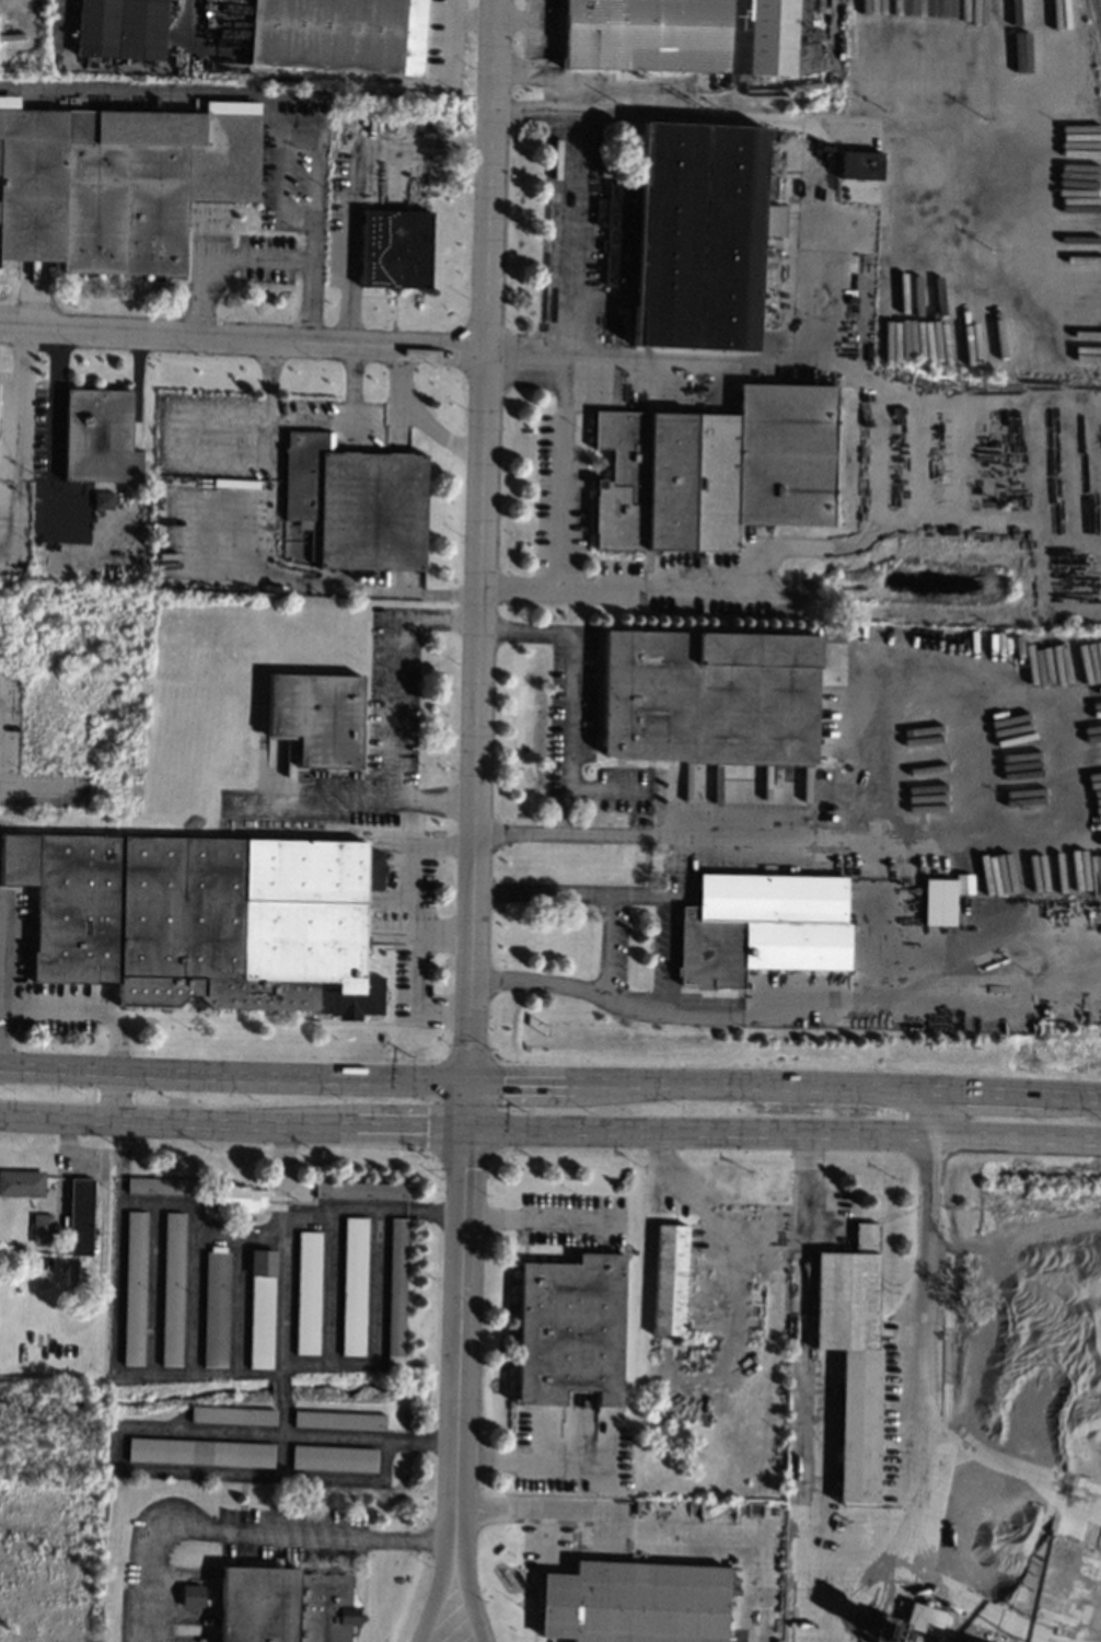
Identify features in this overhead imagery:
railway: (1097, 16)
road: (450, 27)
building: (119, 28)
building: (338, 34)
building: (692, 36)
road: (179, 91)
building: (811, 94)
road: (627, 118)
building: (860, 164)
road: (350, 180)
building: (116, 184)
road: (314, 208)
building: (691, 234)
building: (395, 248)
road: (263, 255)
road: (797, 309)
road: (243, 342)
road: (566, 354)
road: (552, 359)
road: (22, 397)
road: (269, 407)
road: (347, 419)
road: (380, 420)
road: (418, 420)
road: (53, 433)
building: (98, 436)
road: (162, 436)
building: (728, 464)
road: (266, 485)
building: (103, 500)
road: (18, 501)
building: (356, 504)
road: (870, 536)
road: (480, 540)
building: (144, 542)
road: (318, 583)
road: (563, 591)
road: (403, 667)
building: (708, 695)
road: (865, 704)
building: (316, 717)
road: (566, 736)
road: (36, 787)
road: (392, 789)
road: (604, 789)
building: (964, 884)
building: (939, 901)
building: (207, 920)
building: (761, 926)
road: (668, 956)
road: (415, 971)
road: (80, 1008)
road: (232, 1074)
traffic signals: (466, 1080)
road: (784, 1085)
road: (114, 1095)
traffic signals: (466, 1129)
road: (549, 1129)
road: (276, 1173)
building: (21, 1182)
building: (164, 1186)
building: (360, 1190)
building: (235, 1196)
road: (535, 1215)
building: (79, 1216)
building: (40, 1227)
road: (246, 1237)
building: (988, 1248)
building: (1008, 1261)
building: (1007, 1270)
building: (669, 1280)
building: (1004, 1281)
building: (352, 1285)
building: (134, 1287)
building: (172, 1288)
building: (997, 1290)
building: (308, 1292)
building: (395, 1294)
building: (215, 1308)
building: (259, 1308)
building: (999, 1309)
road: (461, 1325)
building: (569, 1328)
road: (924, 1345)
building: (851, 1356)
building: (231, 1414)
road: (282, 1414)
building: (338, 1420)
building: (200, 1452)
building: (333, 1458)
road: (669, 1507)
road: (904, 1510)
road: (250, 1528)
building: (192, 1596)
building: (634, 1603)
building: (282, 1605)
road: (438, 1605)
road: (470, 1605)
building: (923, 1619)

